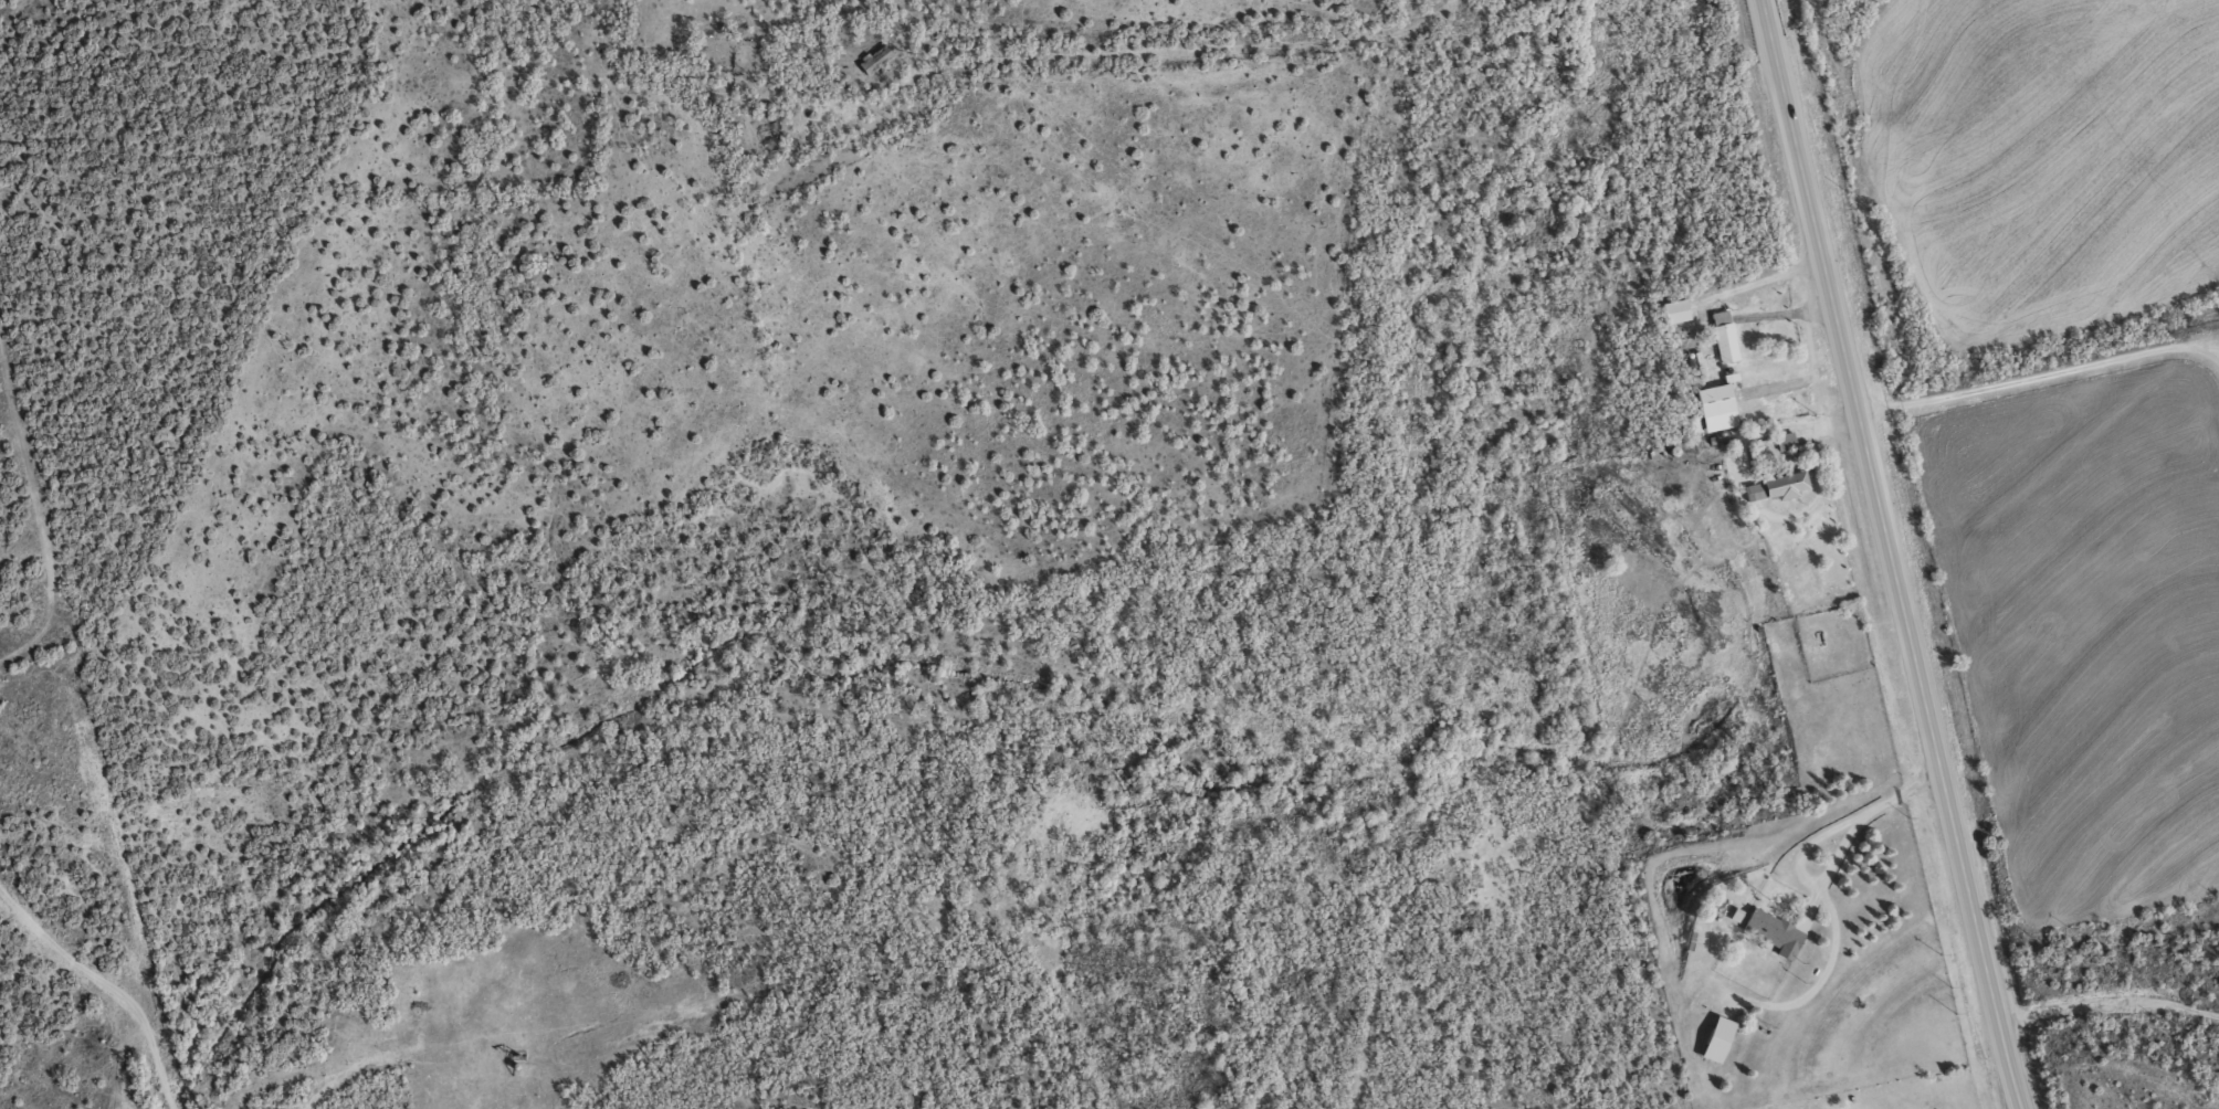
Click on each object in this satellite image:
building: (876, 59)
building: (1675, 310)
building: (1725, 336)
building: (1717, 406)
building: (1787, 440)
building: (1778, 486)
road: (1894, 554)
road: (1838, 852)
road: (1811, 887)
building: (1777, 931)
road: (2110, 1000)
building: (1720, 1039)

